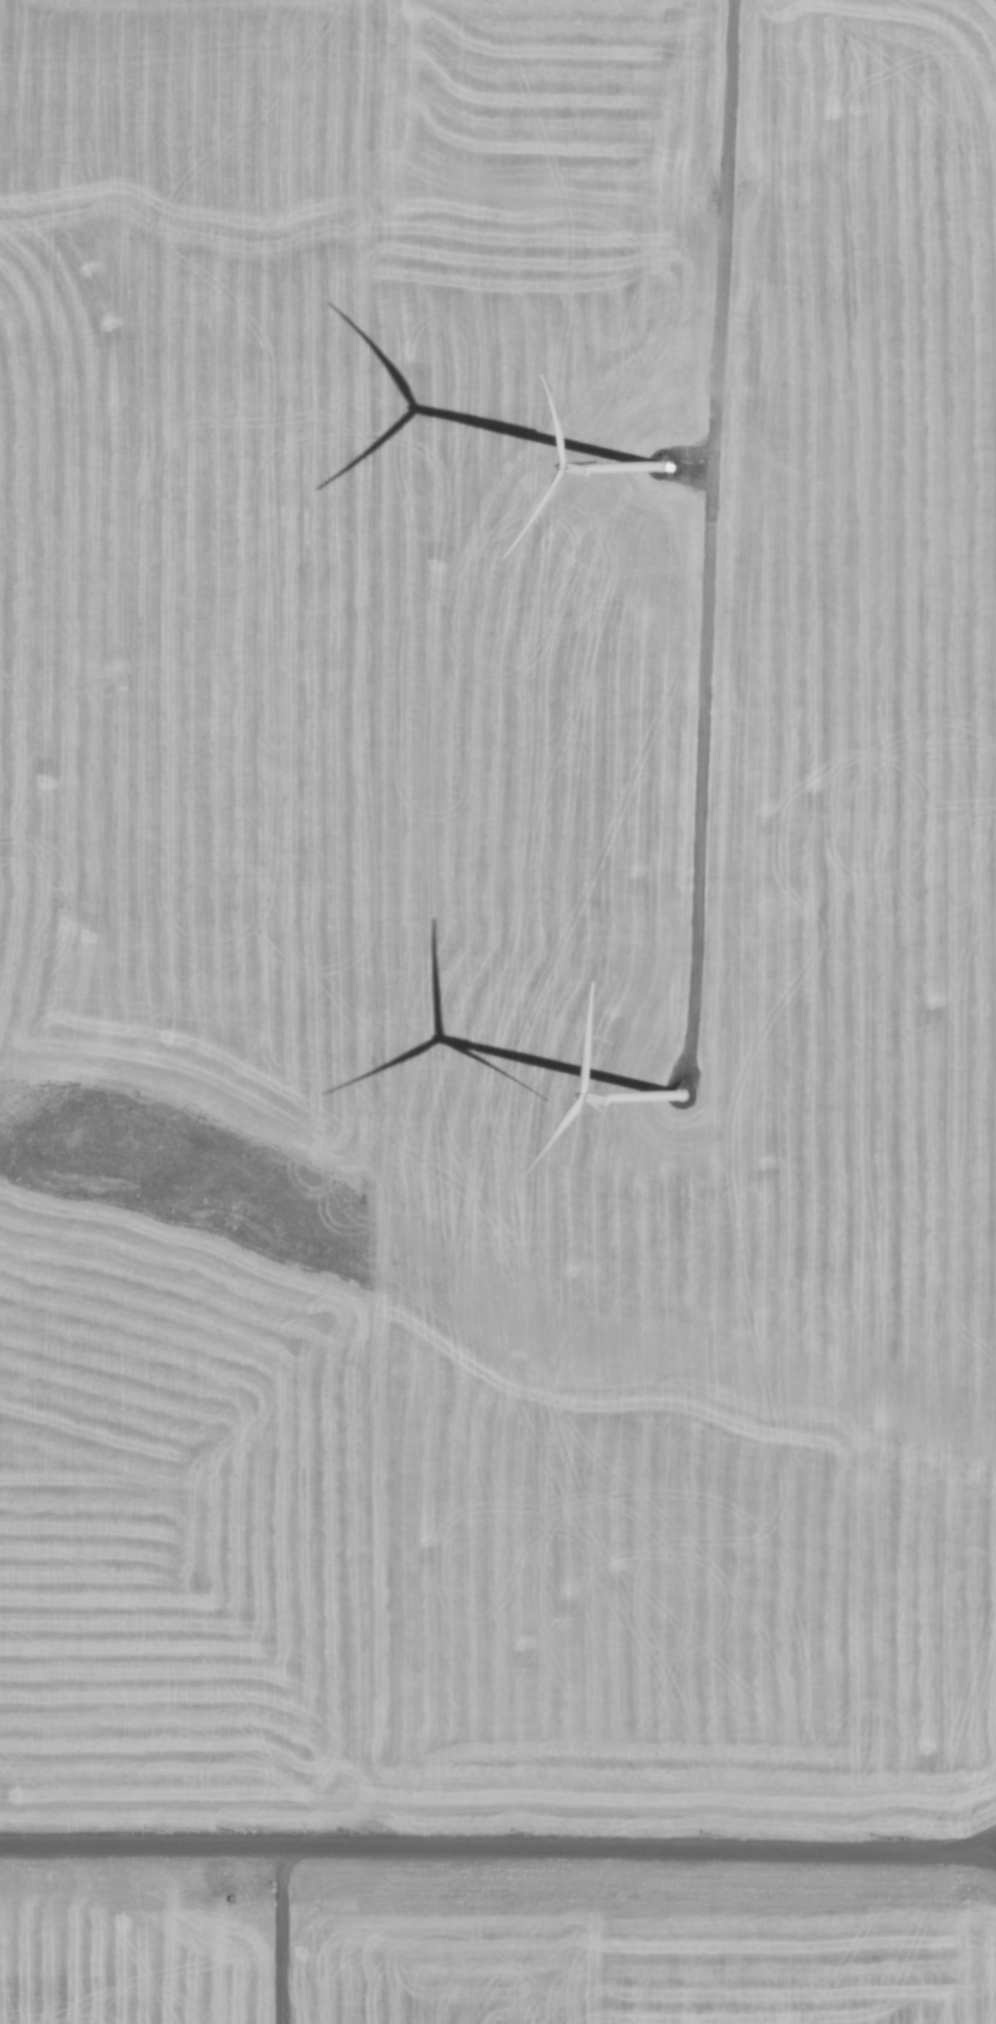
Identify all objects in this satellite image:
wind turbine: (668, 494)
road: (719, 520)
wind turbine: (687, 1100)

